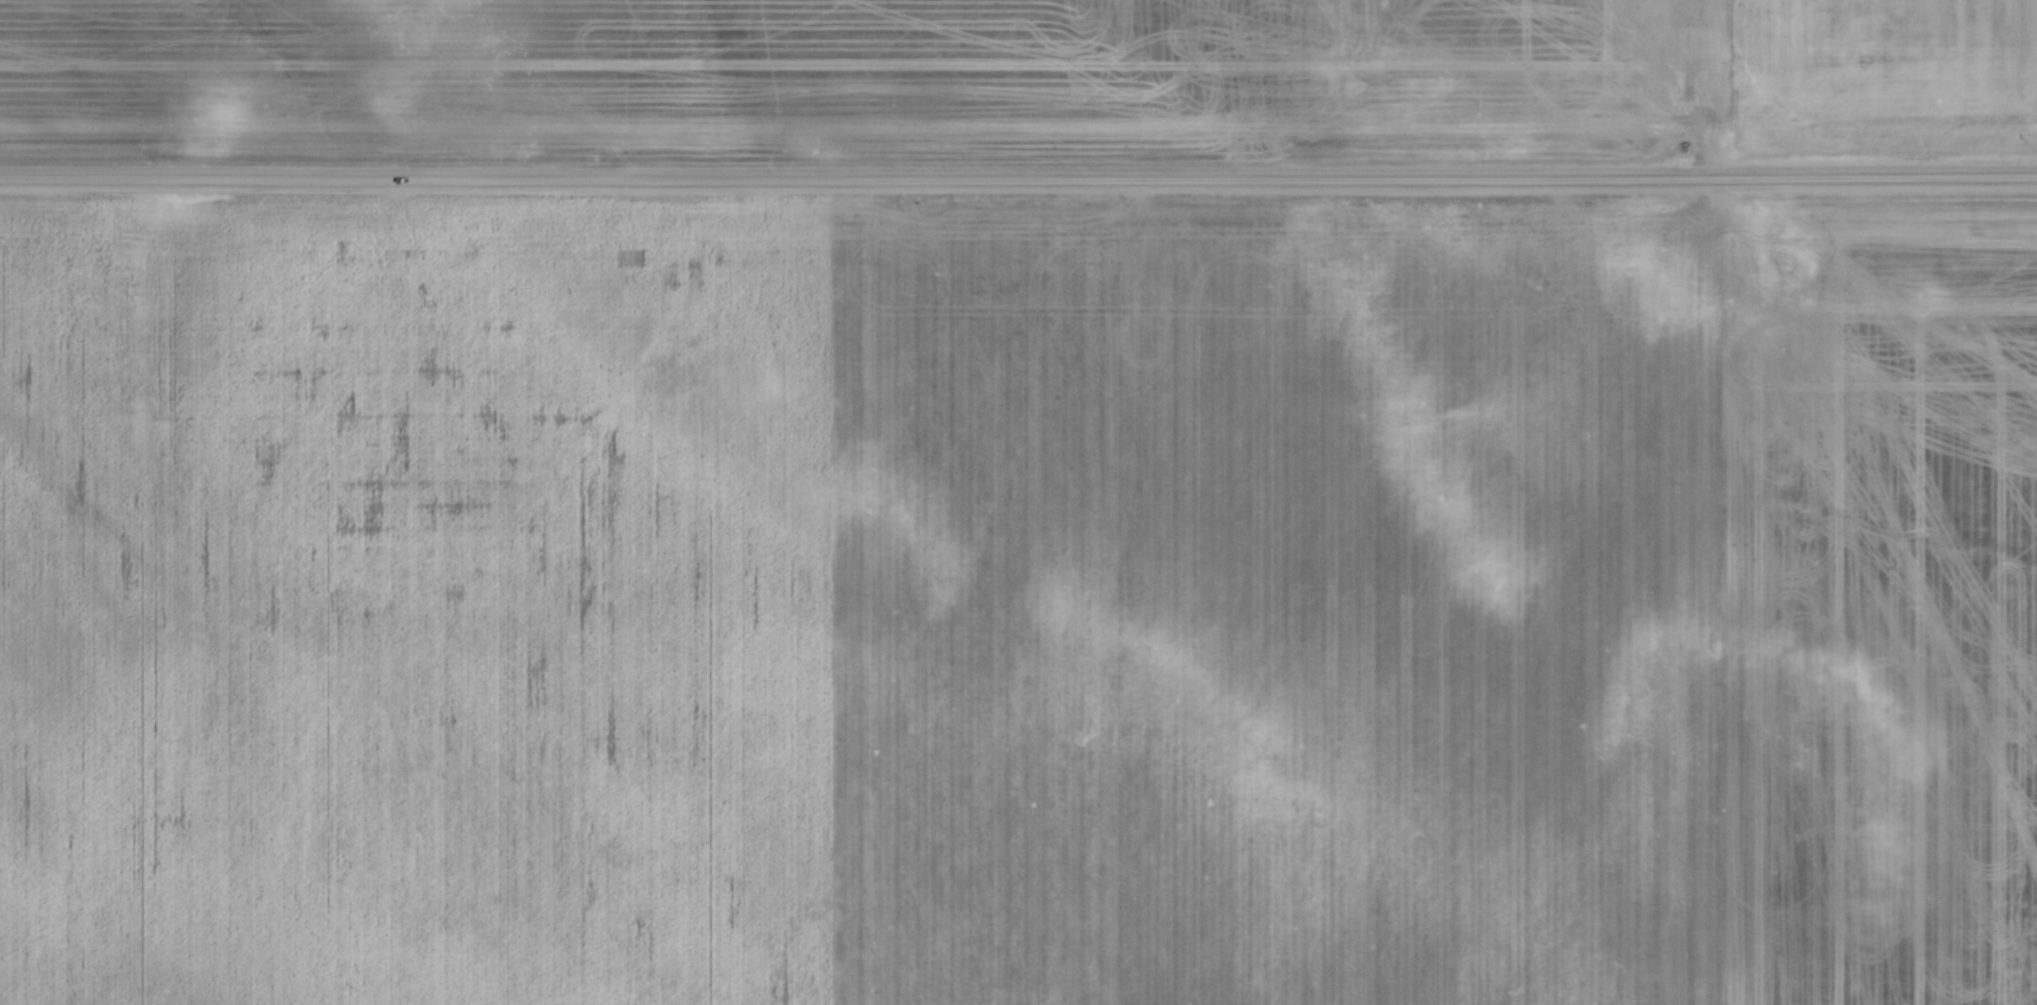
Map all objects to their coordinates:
crop: (1015, 80)
road: (1018, 184)
crop: (1019, 600)

